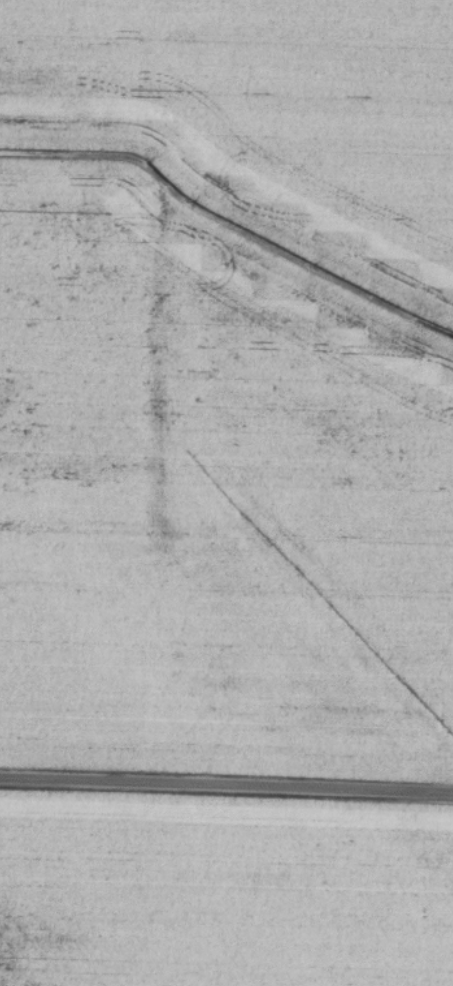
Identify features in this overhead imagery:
road: (226, 778)

